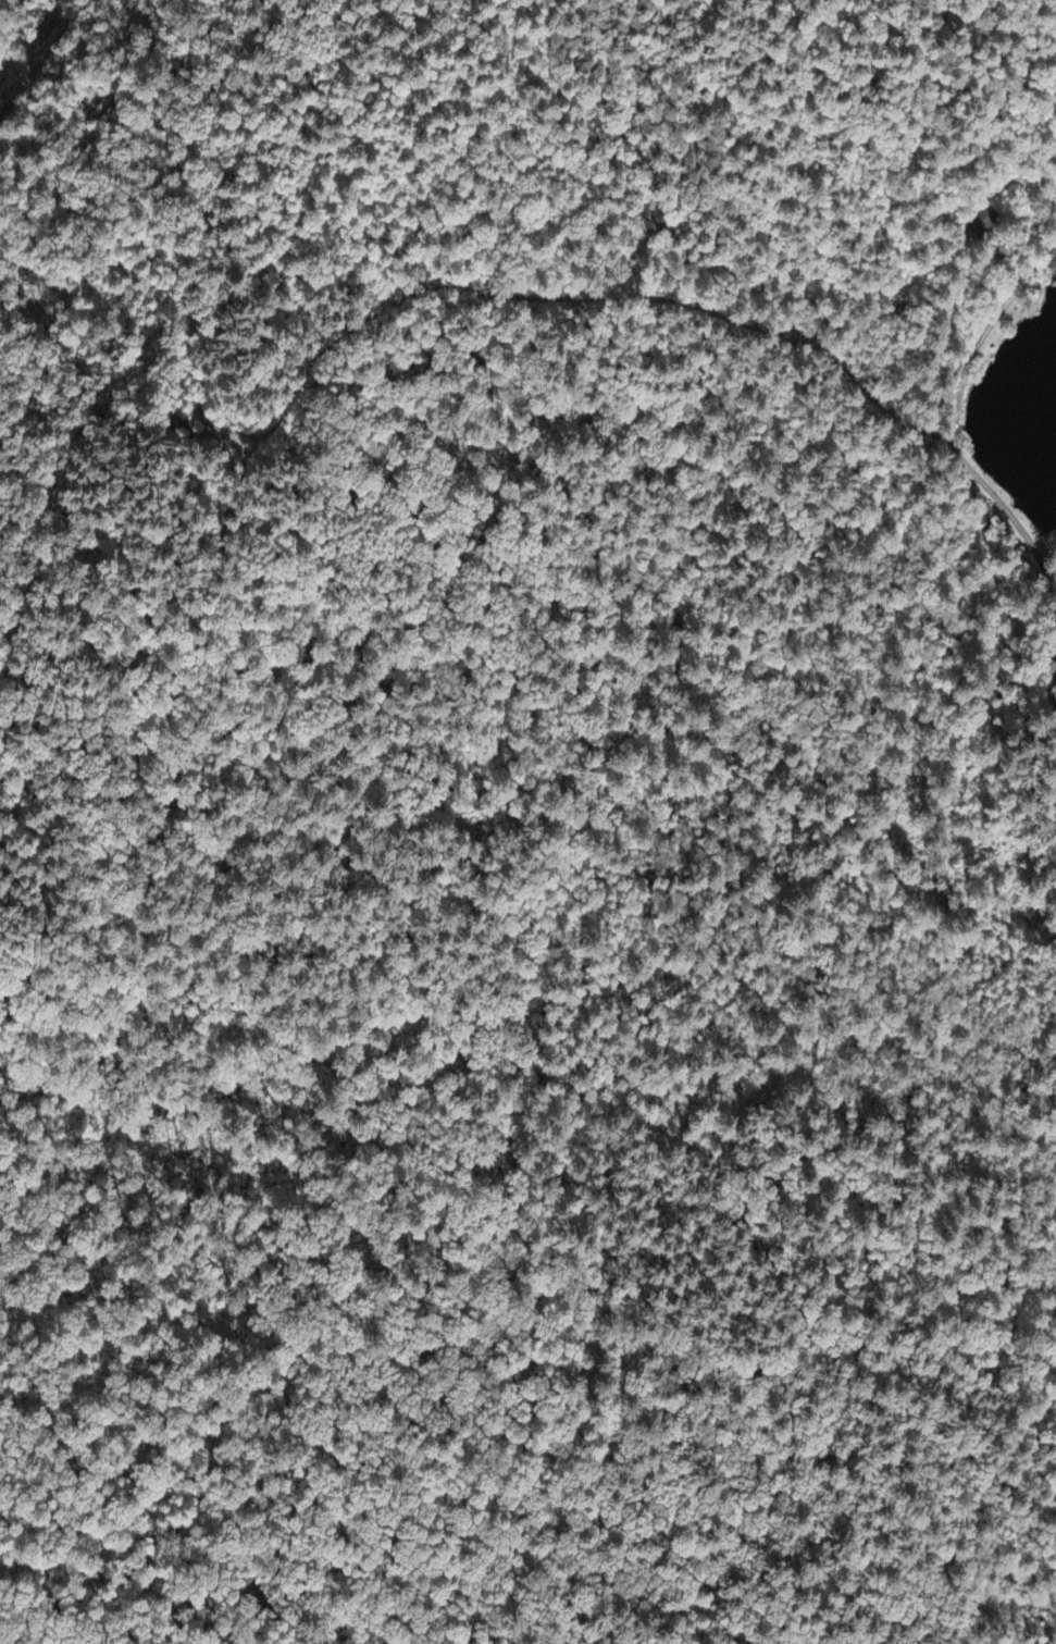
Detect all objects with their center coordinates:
road: (959, 387)
road: (1051, 671)

